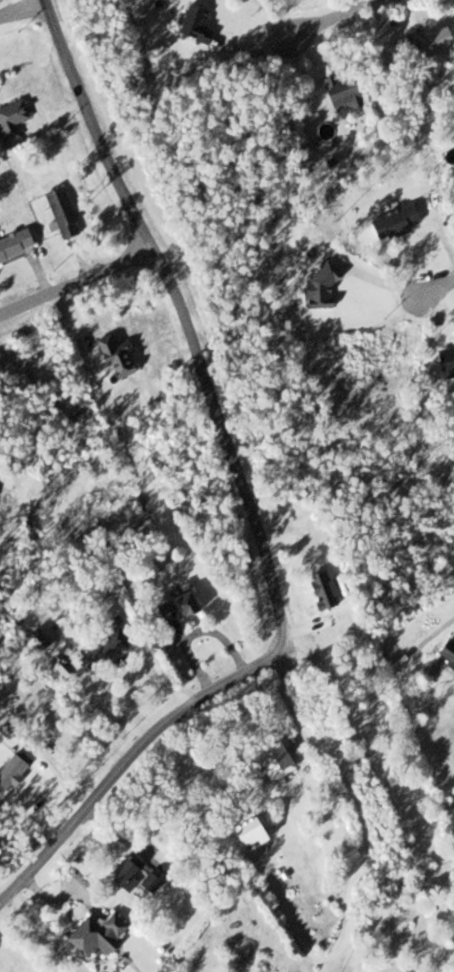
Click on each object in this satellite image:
road: (331, 16)
building: (202, 21)
building: (445, 43)
building: (350, 94)
building: (17, 118)
building: (68, 213)
building: (391, 221)
building: (19, 245)
road: (76, 280)
road: (436, 289)
building: (123, 359)
building: (444, 360)
building: (1, 479)
road: (247, 487)
building: (331, 591)
building: (188, 608)
building: (111, 649)
building: (446, 649)
road: (127, 750)
building: (287, 763)
building: (264, 831)
building: (144, 875)
road: (46, 929)
building: (105, 935)

